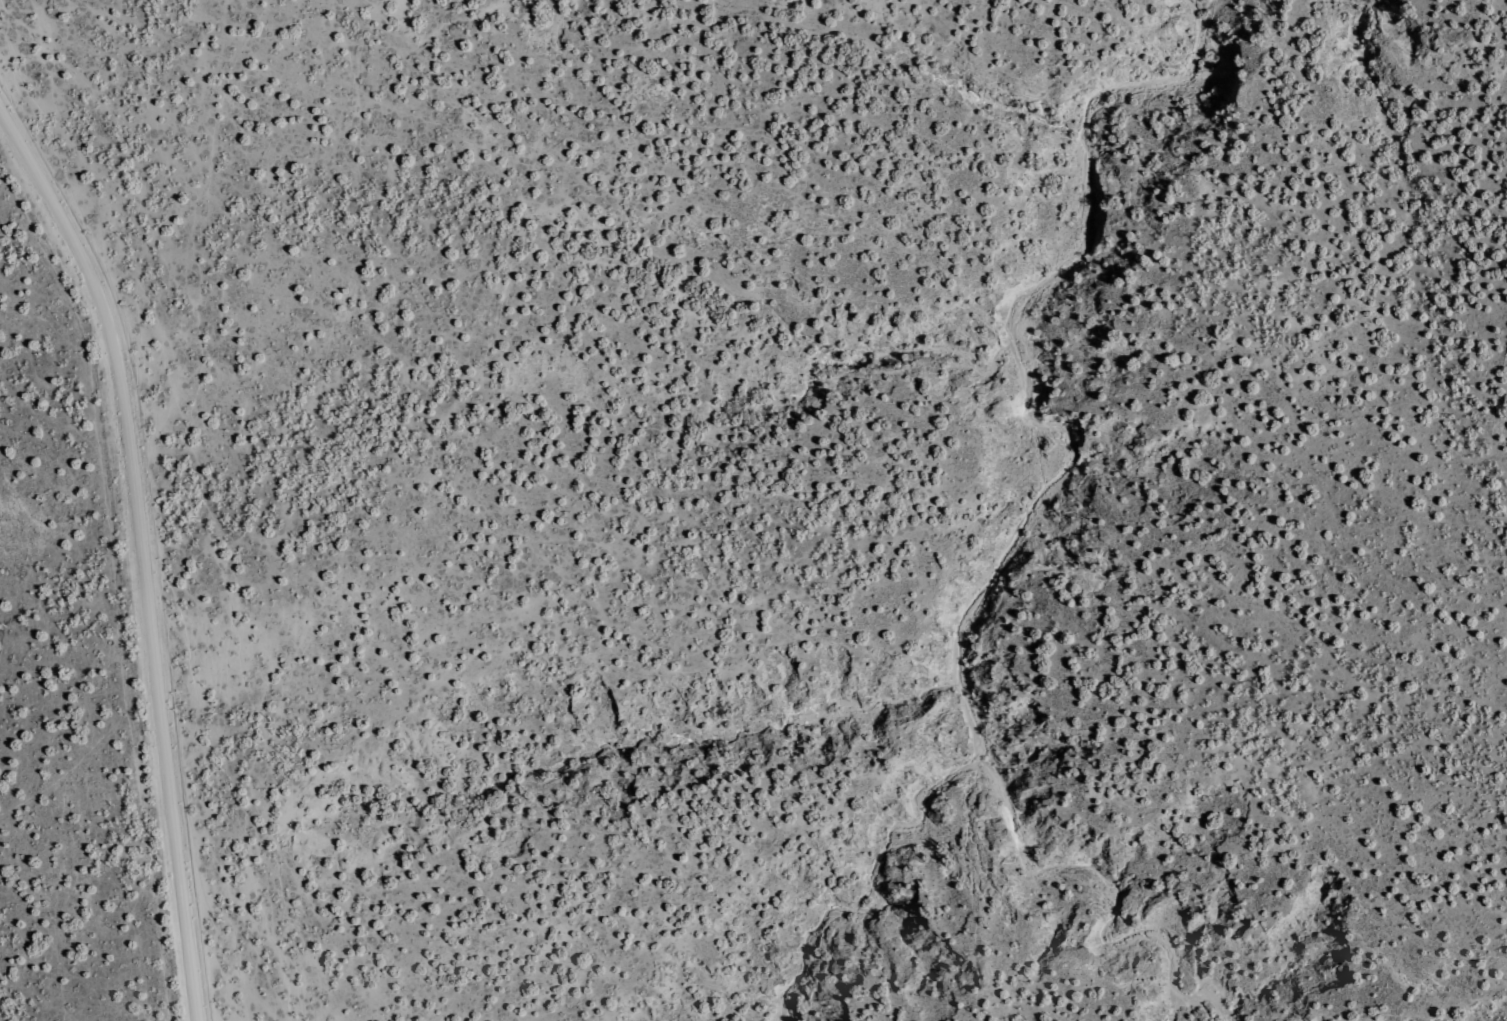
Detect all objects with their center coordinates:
road: (106, 552)

